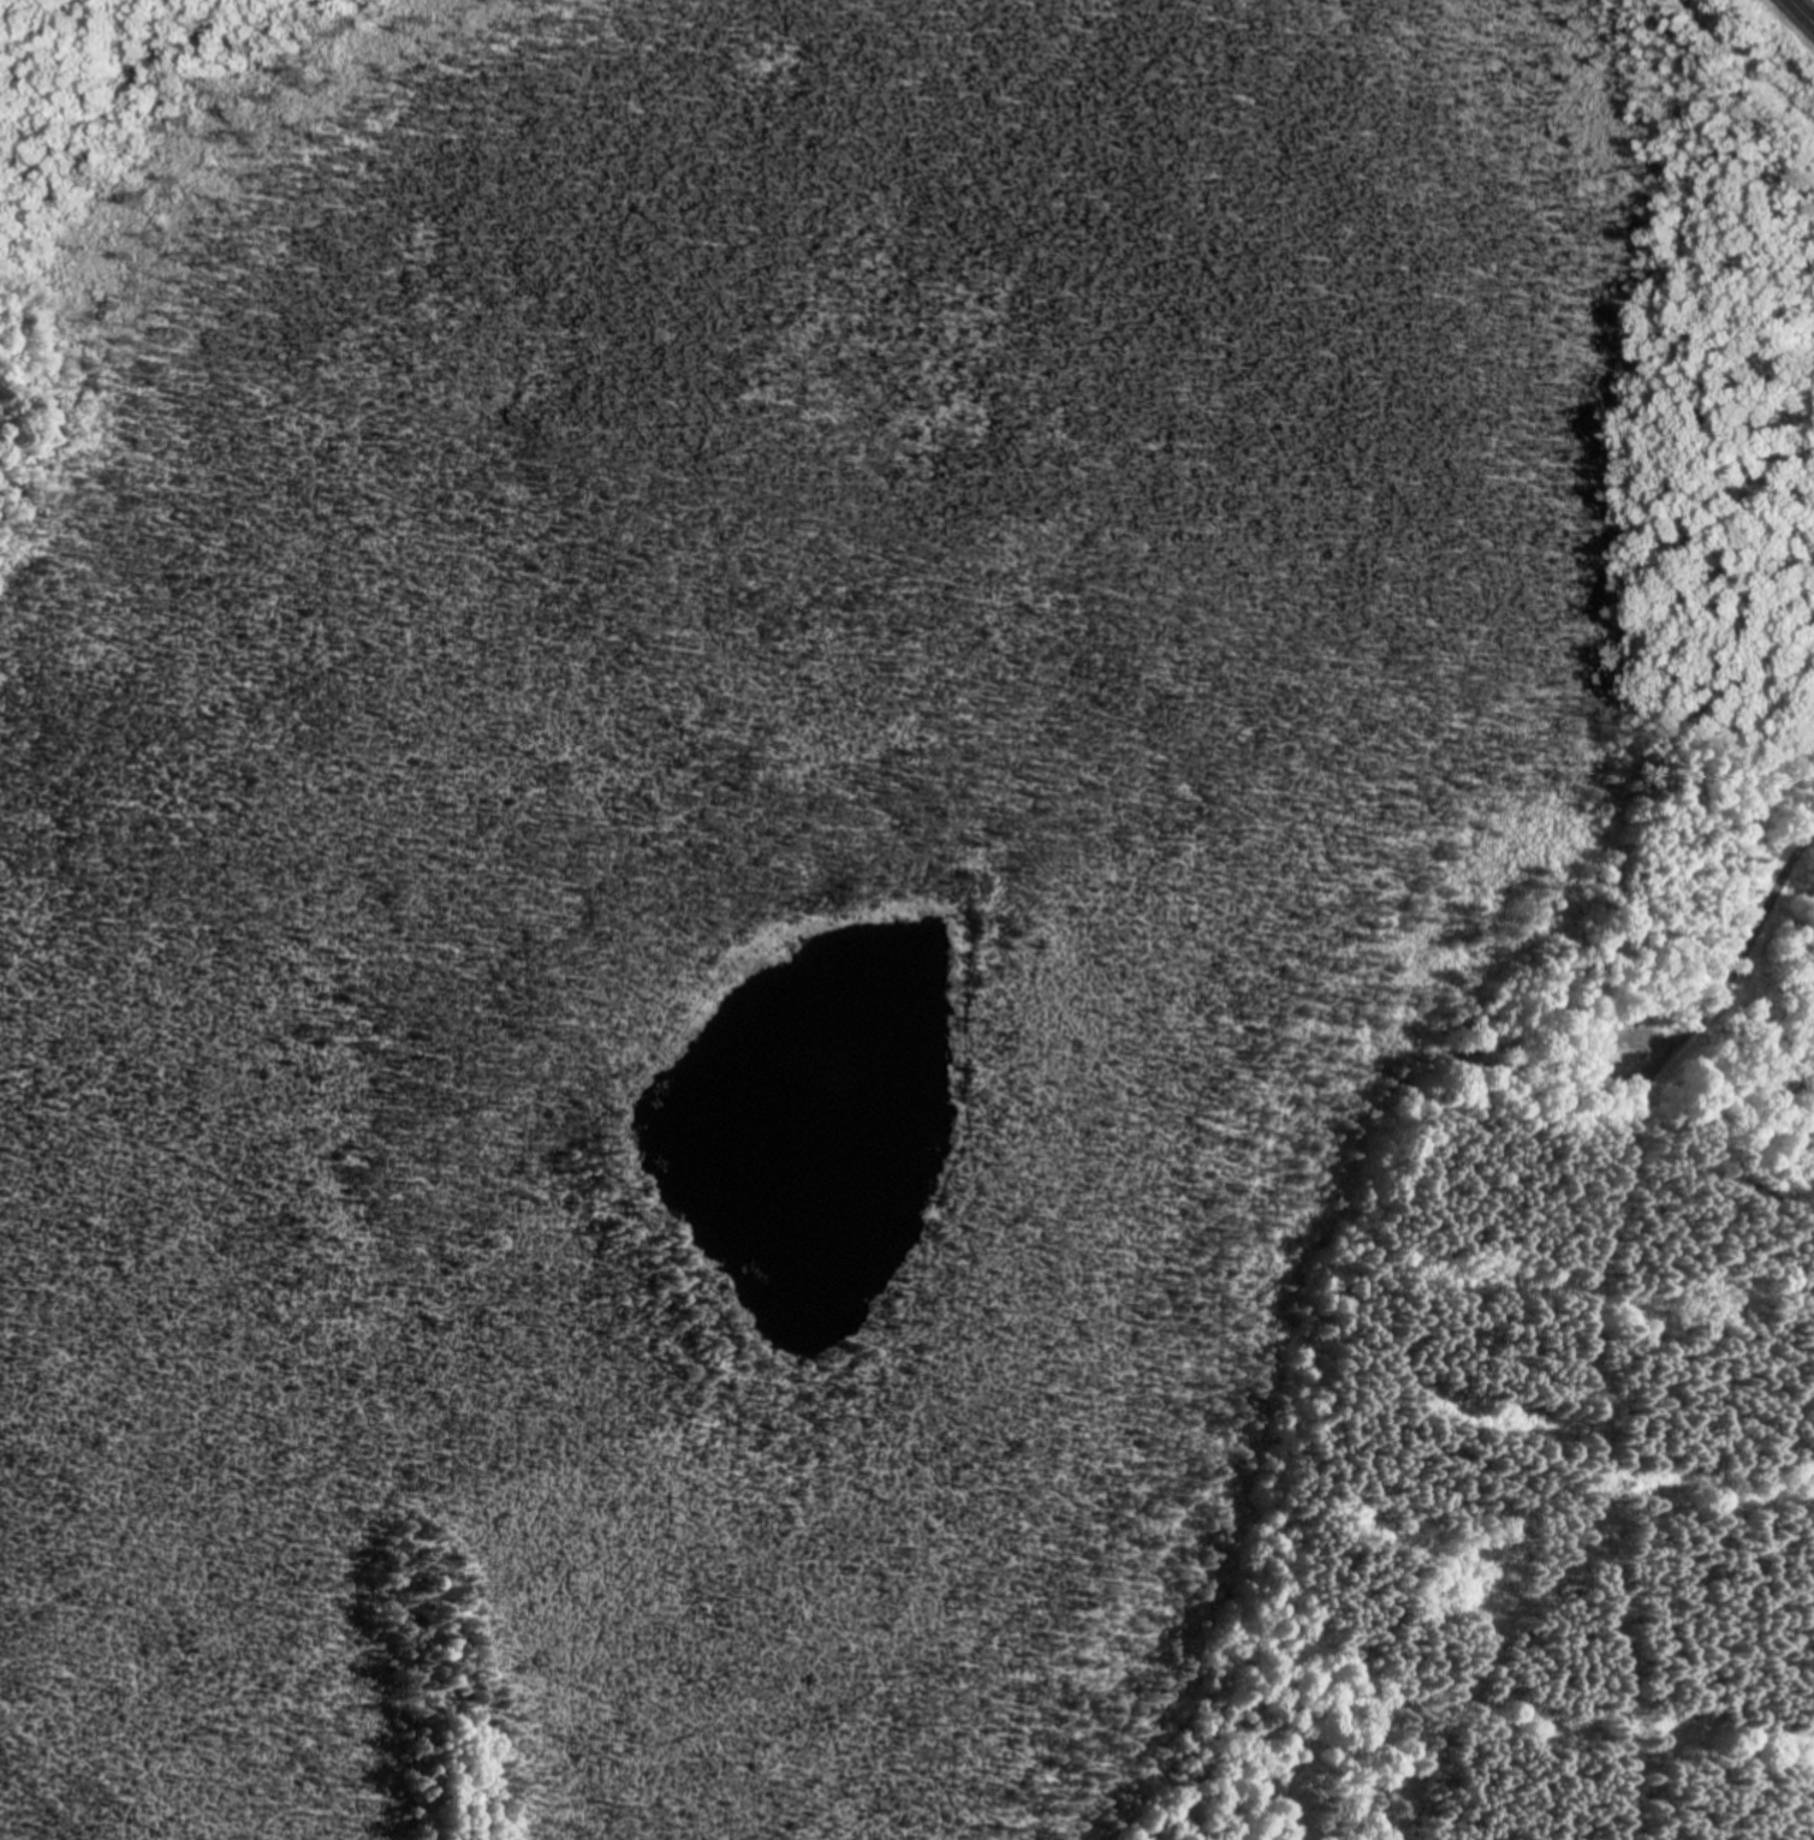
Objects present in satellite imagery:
road: (1803, 10)

